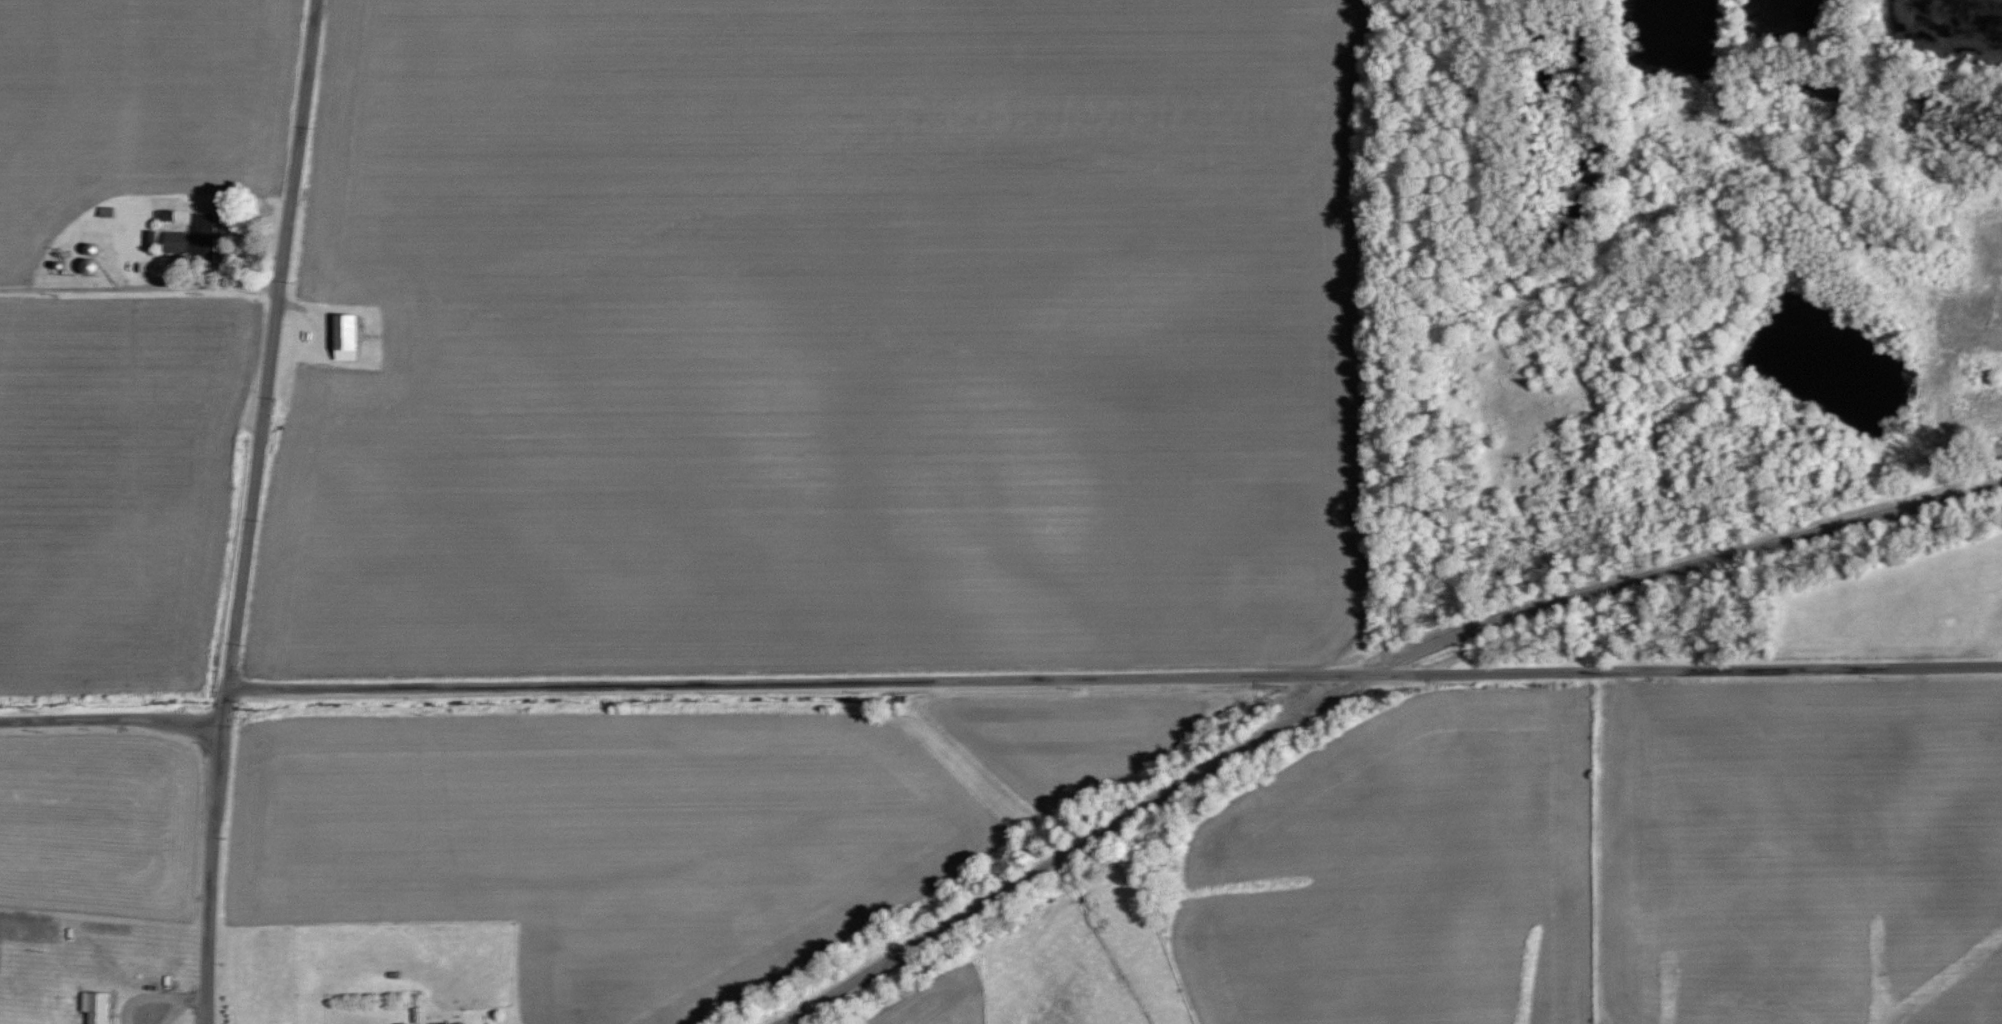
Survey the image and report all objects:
building: (194, 238)
road: (140, 276)
building: (344, 336)
road: (248, 510)
road: (1114, 674)
road: (1359, 678)
road: (110, 716)
building: (94, 1006)
building: (400, 1022)

